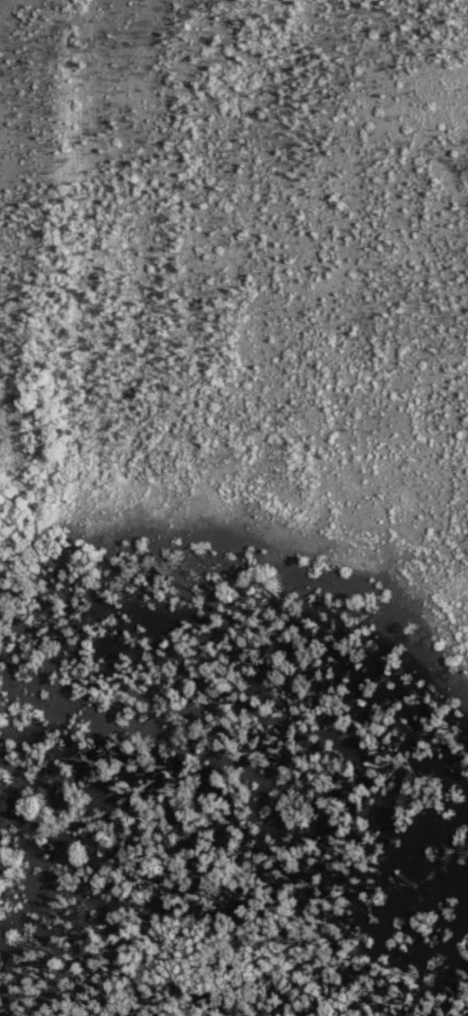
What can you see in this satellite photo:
power tower: (196, 570)

